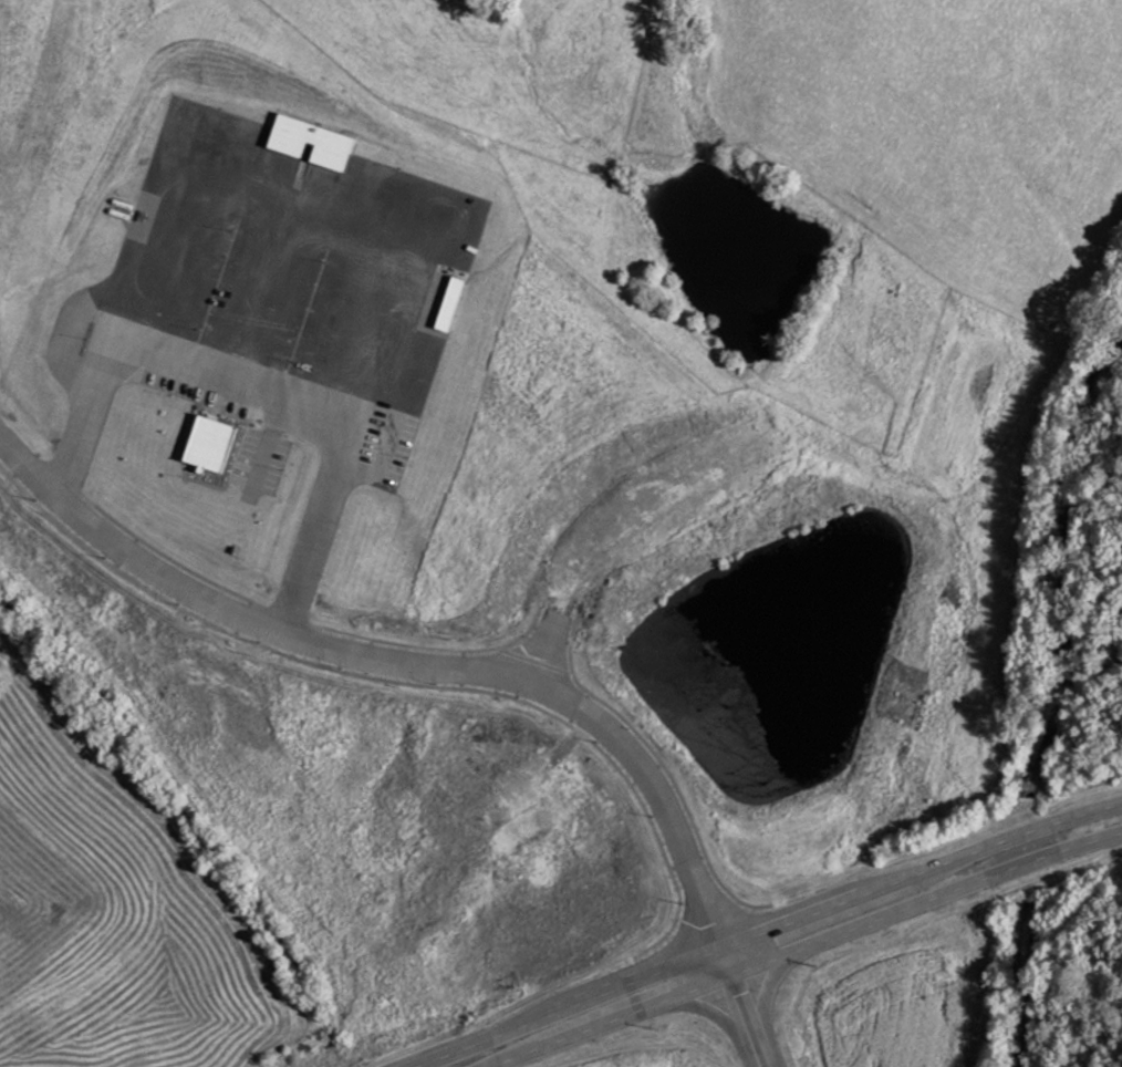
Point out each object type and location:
road: (914, 872)
road: (921, 900)
road: (734, 1008)
road: (558, 1009)
road: (604, 1022)

